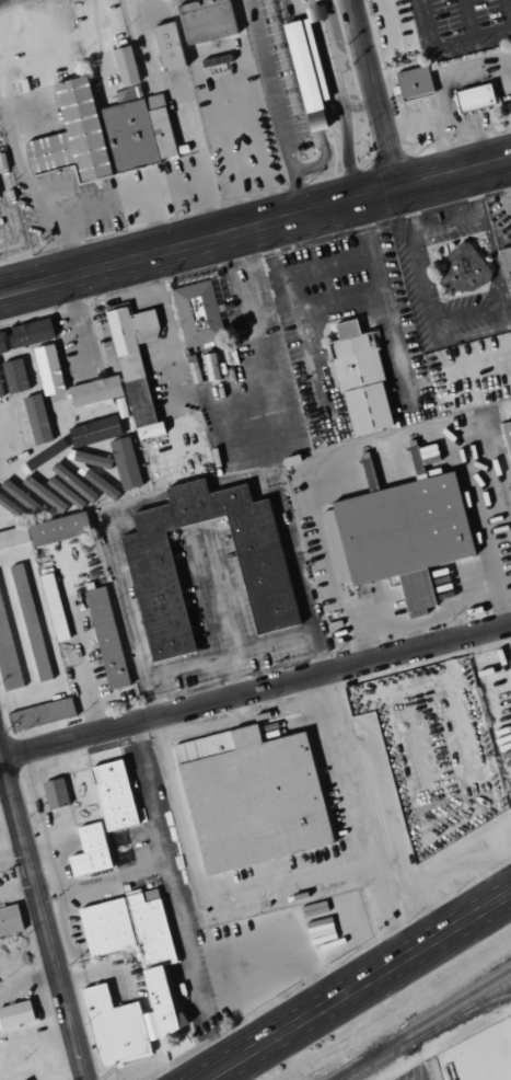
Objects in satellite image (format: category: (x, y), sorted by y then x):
road: (0, 0)
building: (204, 20)
building: (165, 46)
road: (448, 46)
building: (125, 65)
building: (304, 71)
building: (413, 82)
road: (376, 95)
building: (472, 97)
building: (102, 133)
road: (31, 182)
road: (155, 195)
road: (159, 223)
road: (255, 229)
building: (506, 264)
building: (456, 267)
road: (337, 312)
building: (196, 313)
building: (95, 324)
building: (31, 334)
building: (1, 346)
building: (132, 366)
building: (42, 369)
building: (14, 376)
building: (357, 379)
building: (1, 383)
building: (93, 391)
building: (21, 417)
building: (5, 426)
building: (85, 429)
building: (506, 441)
building: (118, 462)
building: (417, 471)
building: (367, 474)
building: (78, 483)
building: (58, 490)
building: (509, 496)
building: (23, 497)
building: (10, 507)
building: (46, 531)
building: (396, 536)
building: (263, 581)
building: (53, 607)
building: (30, 622)
building: (106, 637)
road: (79, 645)
building: (7, 655)
road: (257, 691)
building: (40, 714)
building: (57, 793)
building: (112, 795)
building: (248, 796)
building: (89, 851)
road: (44, 911)
building: (9, 919)
building: (150, 975)
road: (358, 986)
railway: (468, 1011)
building: (14, 1014)
railway: (420, 1024)
railway: (429, 1030)
railway: (342, 1073)
building: (20, 1078)

